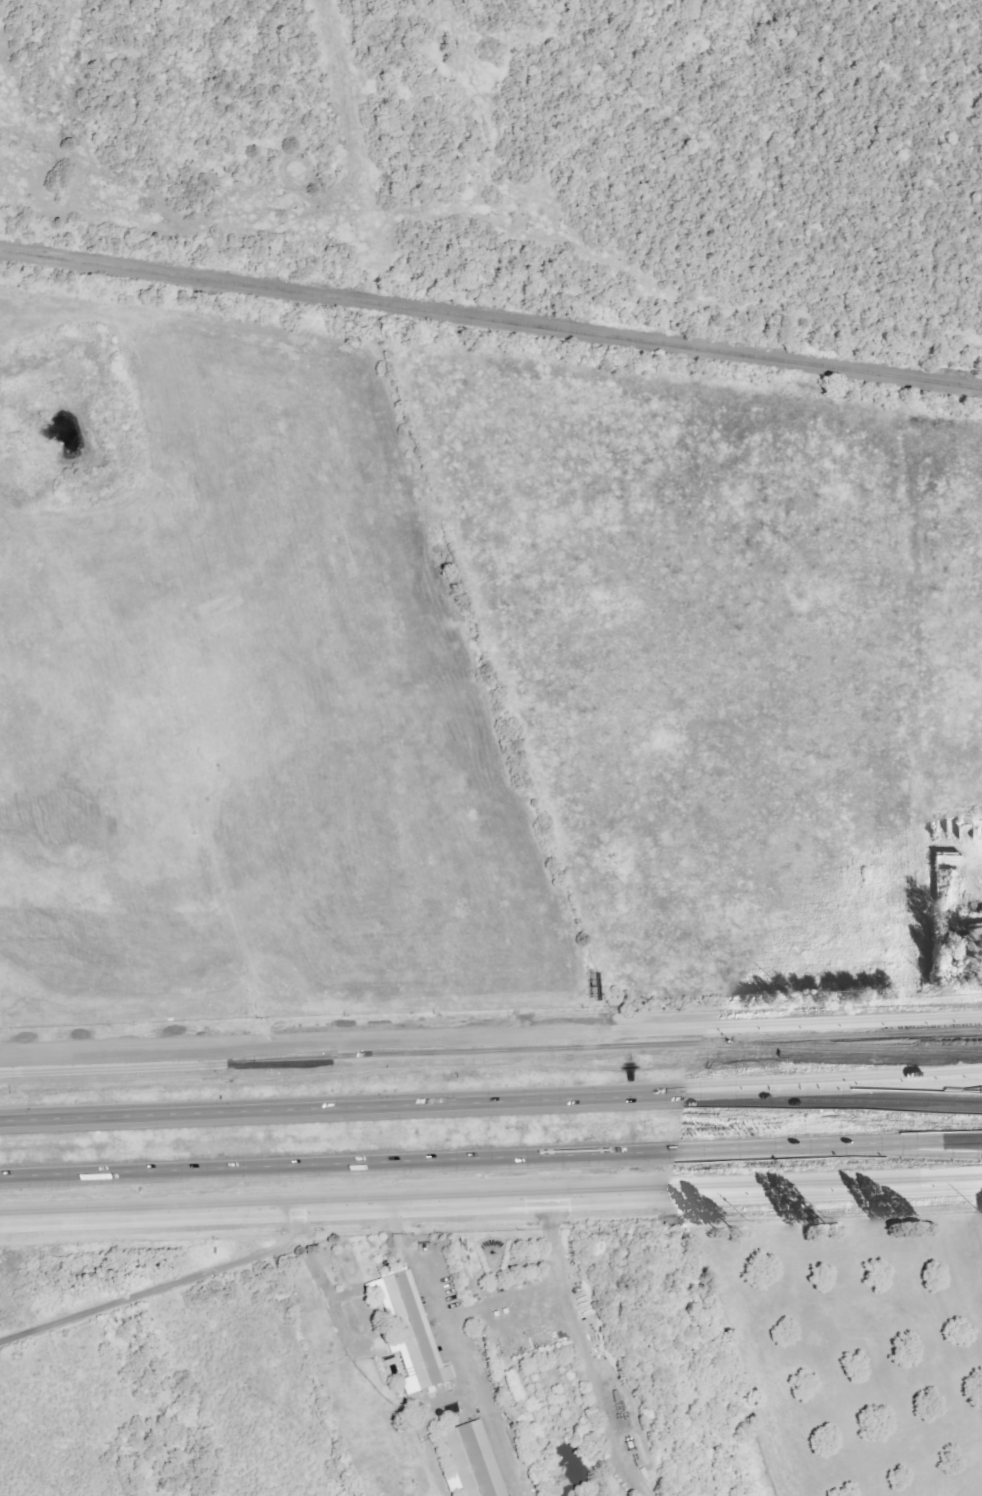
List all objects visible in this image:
railway: (491, 318)
road: (759, 1030)
road: (760, 1050)
road: (269, 1052)
road: (491, 1106)
road: (491, 1155)
road: (491, 1204)
road: (157, 1286)
road: (561, 1287)
road: (439, 1298)
road: (503, 1298)
building: (413, 1332)
building: (474, 1462)

